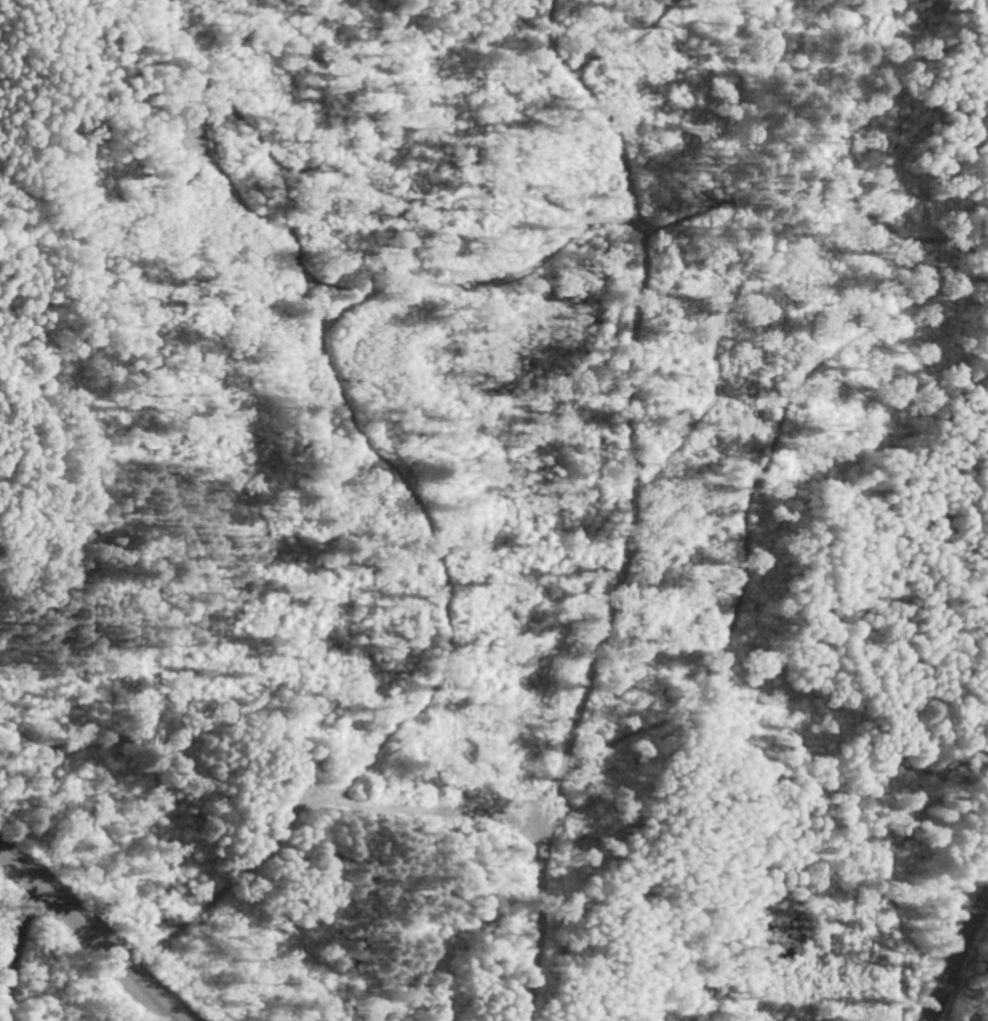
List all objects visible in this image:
road: (94, 935)
road: (954, 960)

